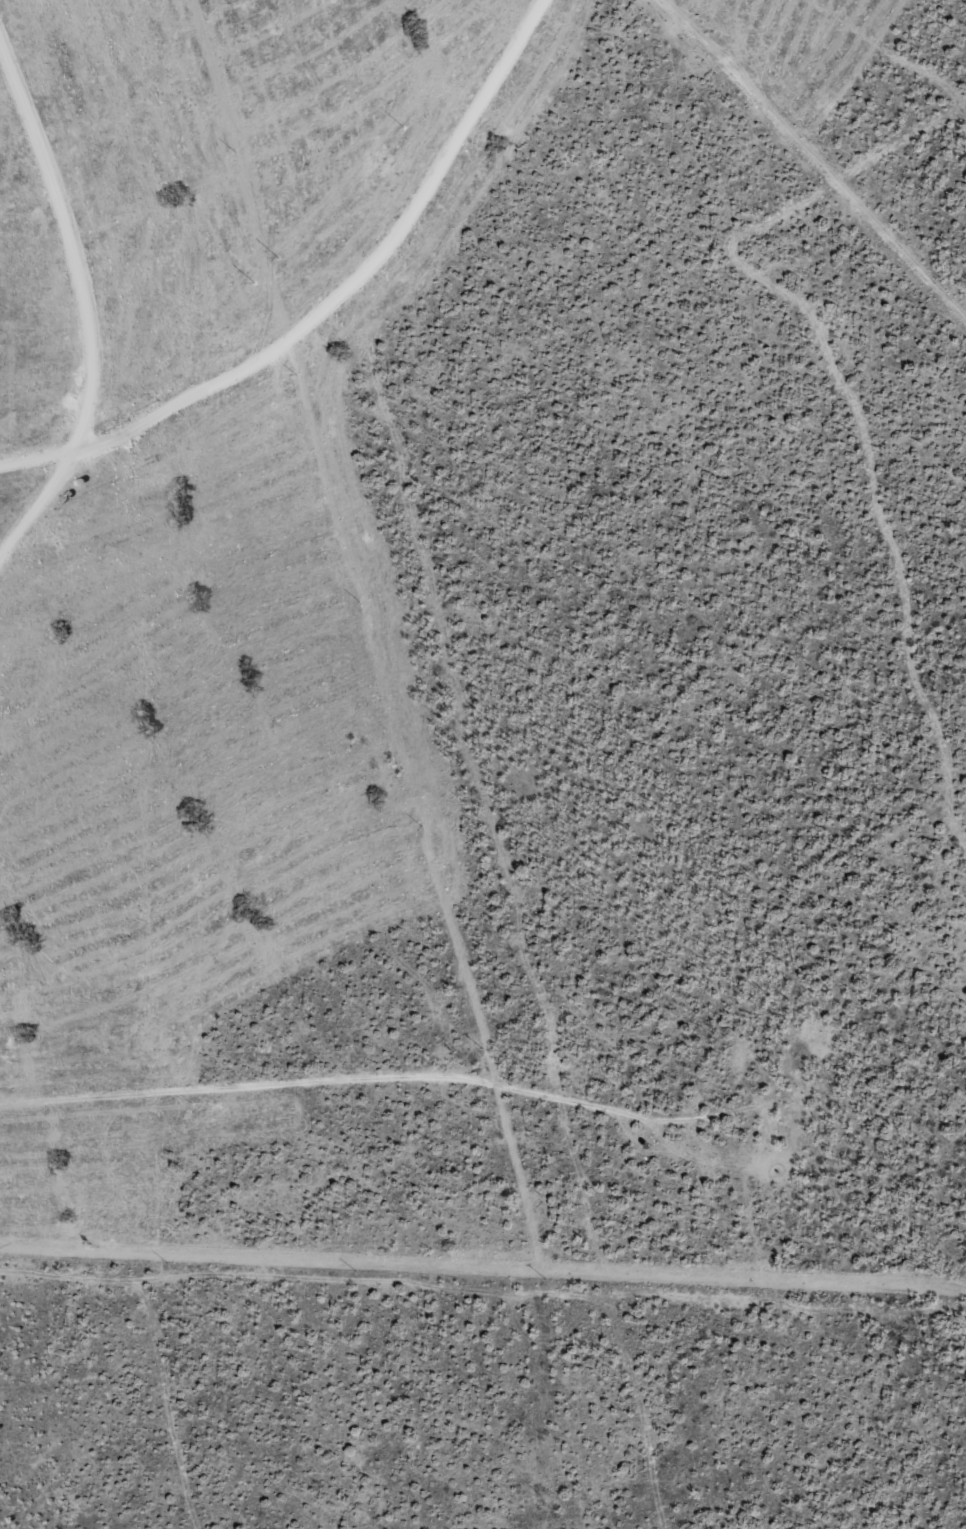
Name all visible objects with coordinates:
road: (90, 291)

